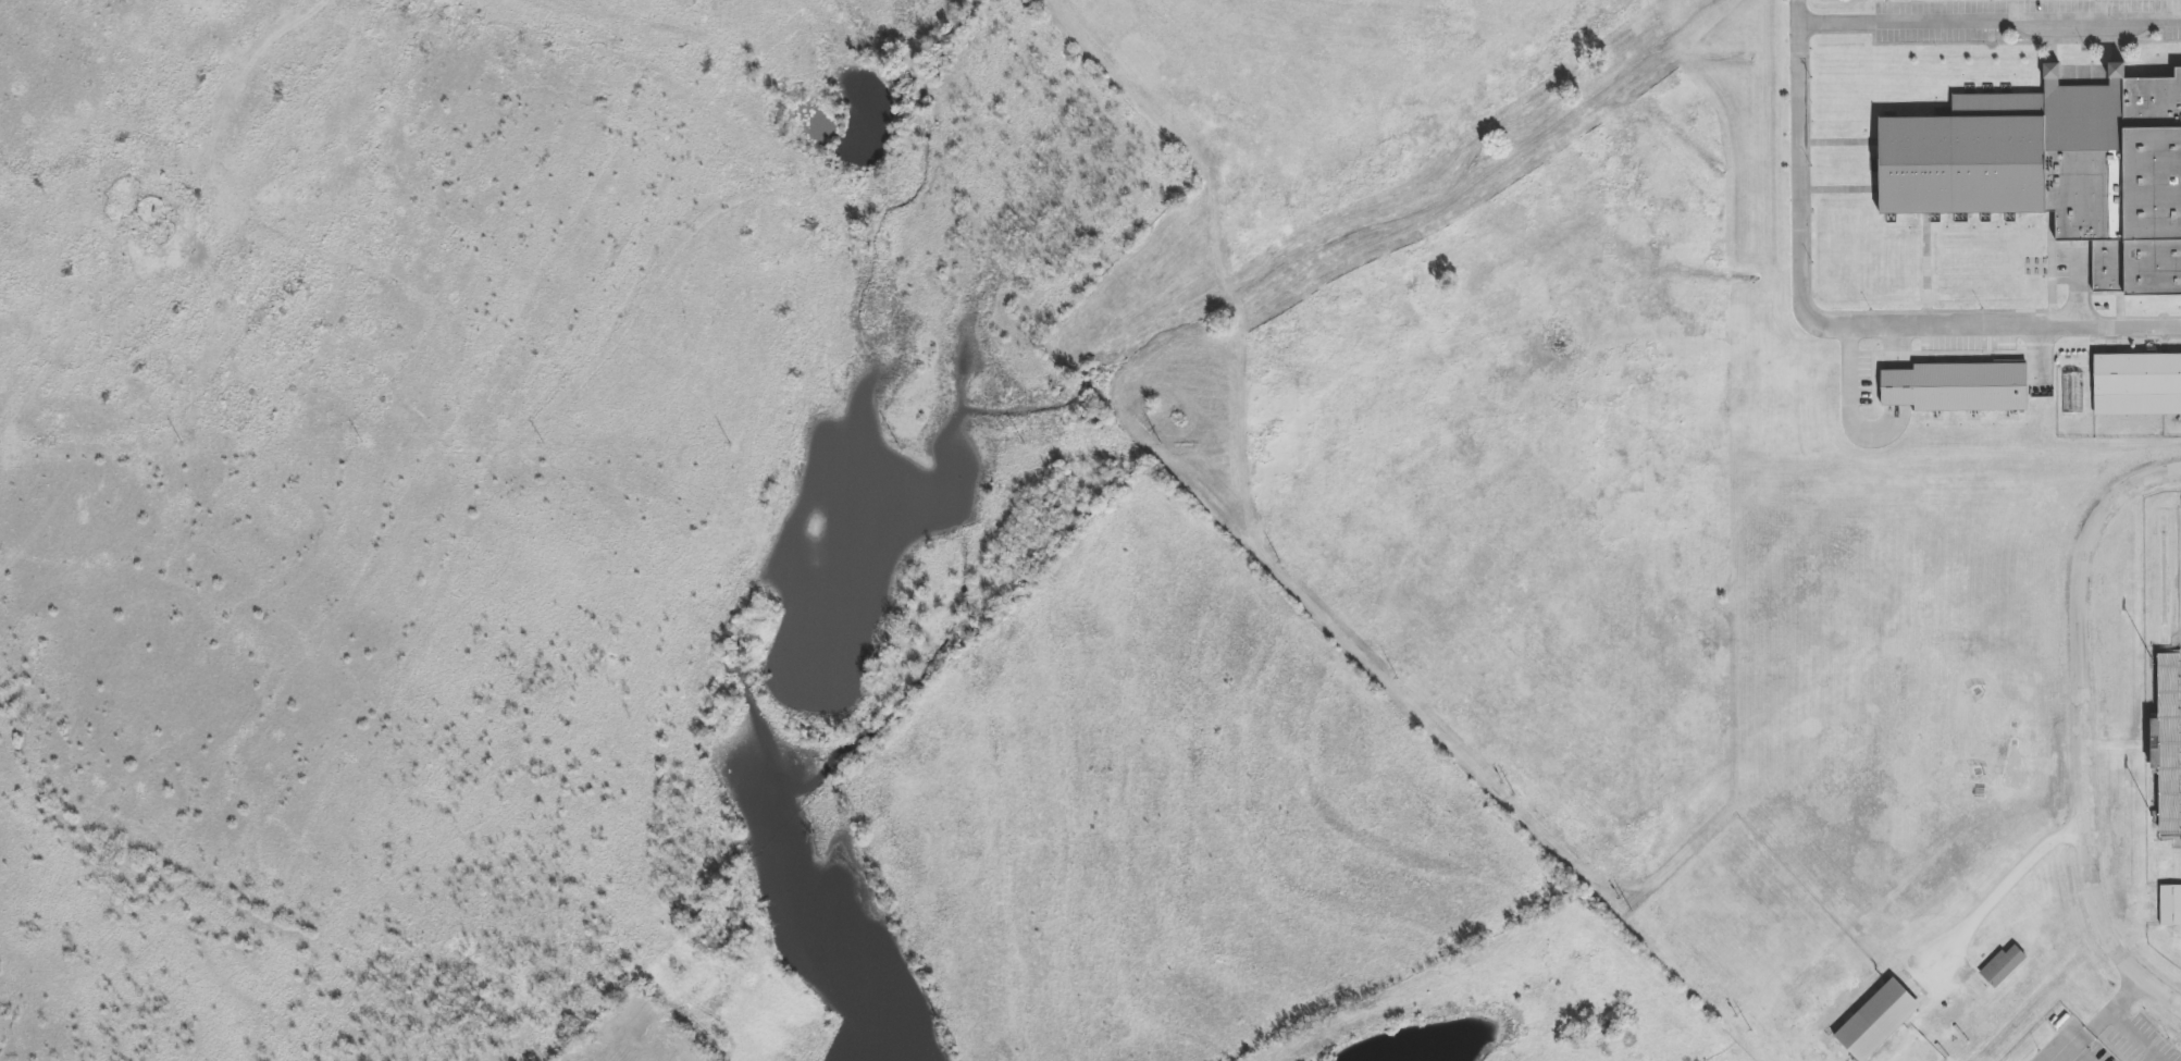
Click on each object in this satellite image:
road: (1979, 22)
building: (2055, 168)
road: (1845, 328)
building: (2135, 383)
building: (1956, 385)
road: (2082, 727)
road: (2010, 881)
building: (2169, 908)
building: (2003, 966)
road: (2104, 1019)
building: (1874, 1022)

